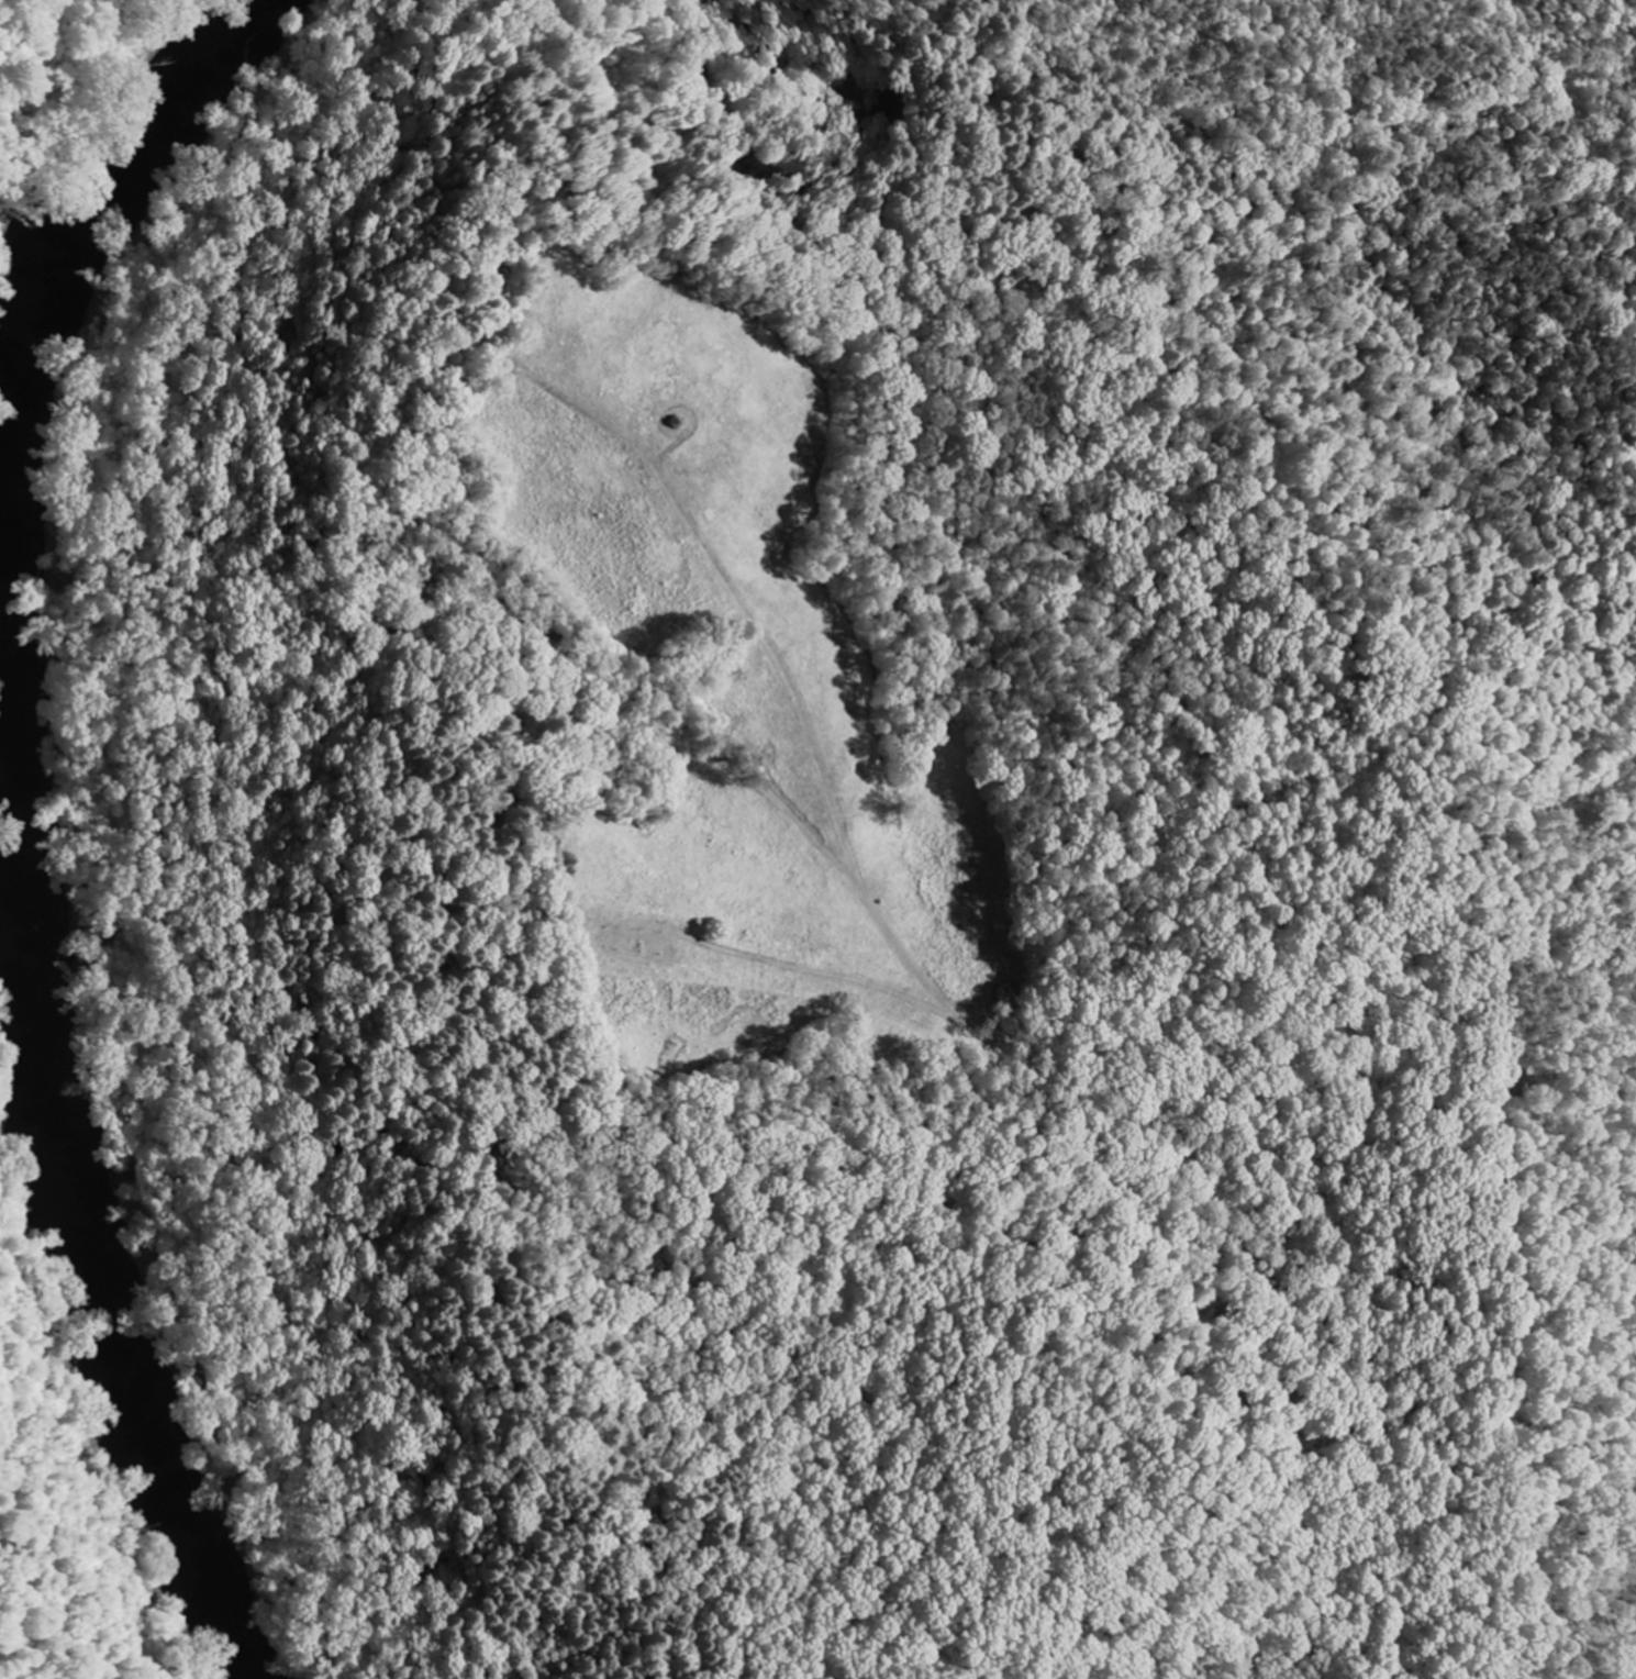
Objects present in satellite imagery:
river: (88, 214)
road: (998, 1038)
river: (86, 1249)

